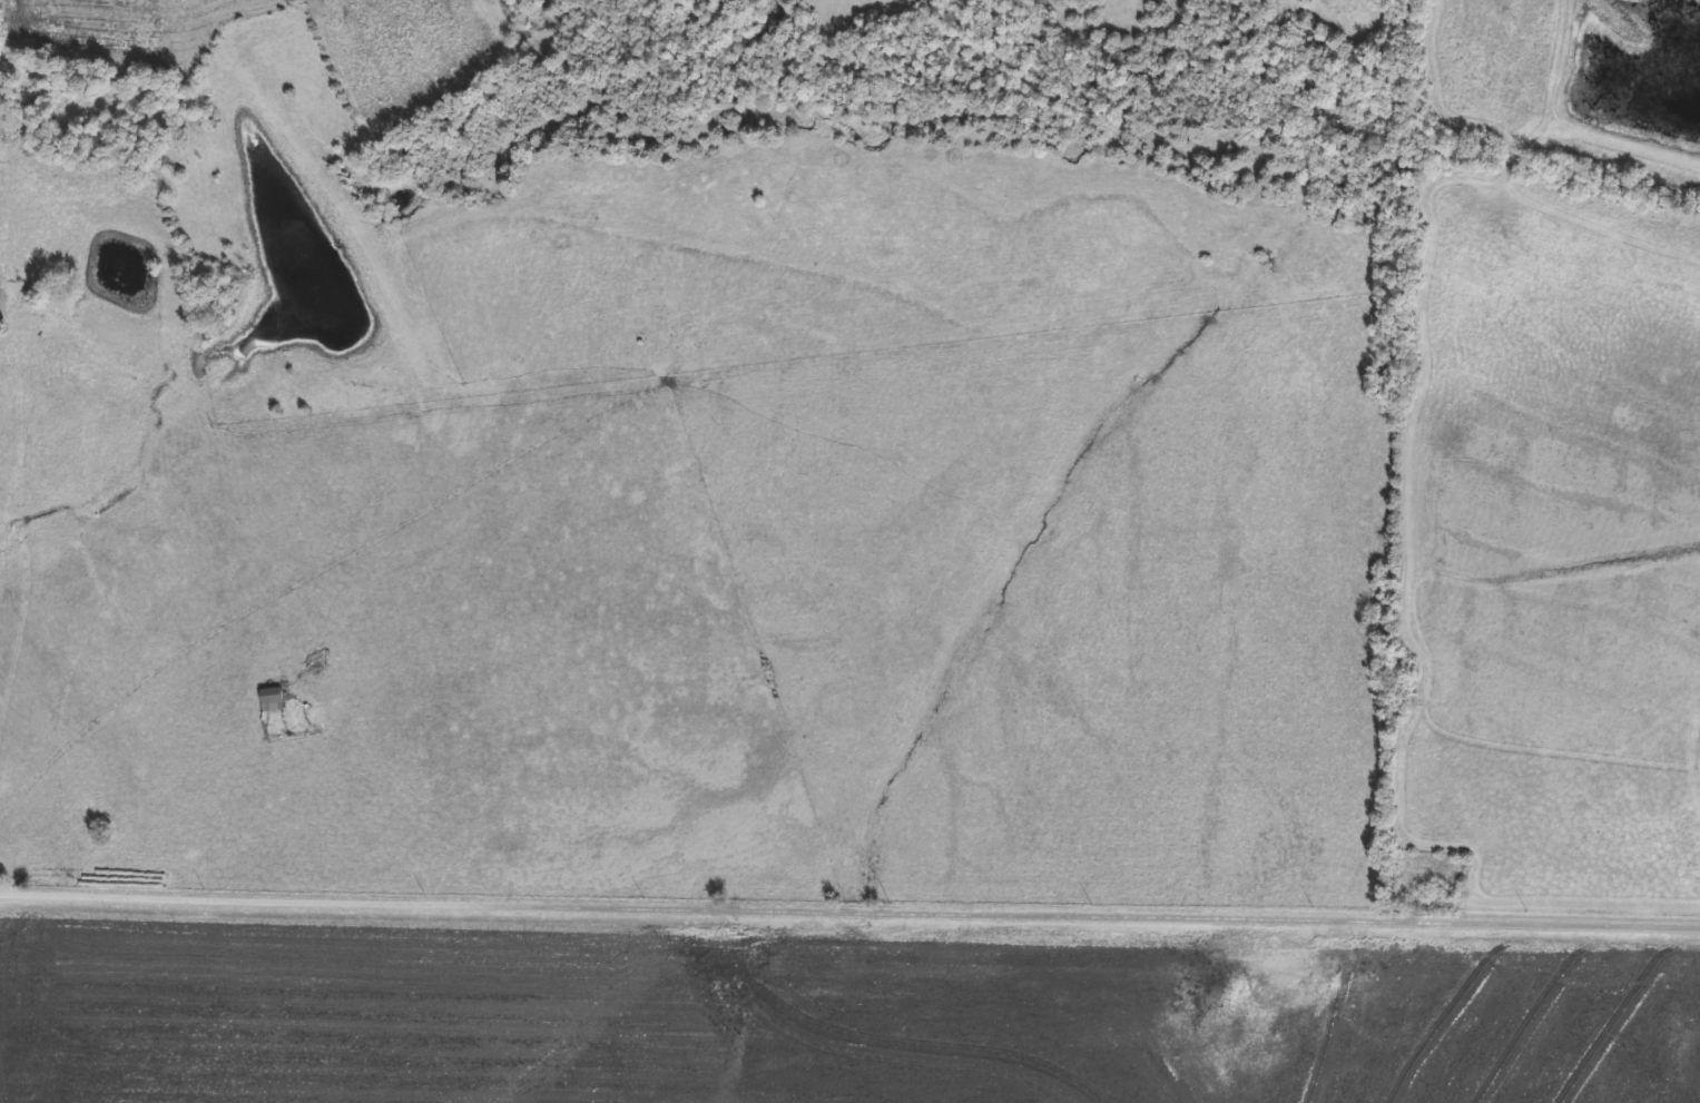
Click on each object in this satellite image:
building: (273, 701)
road: (849, 914)

